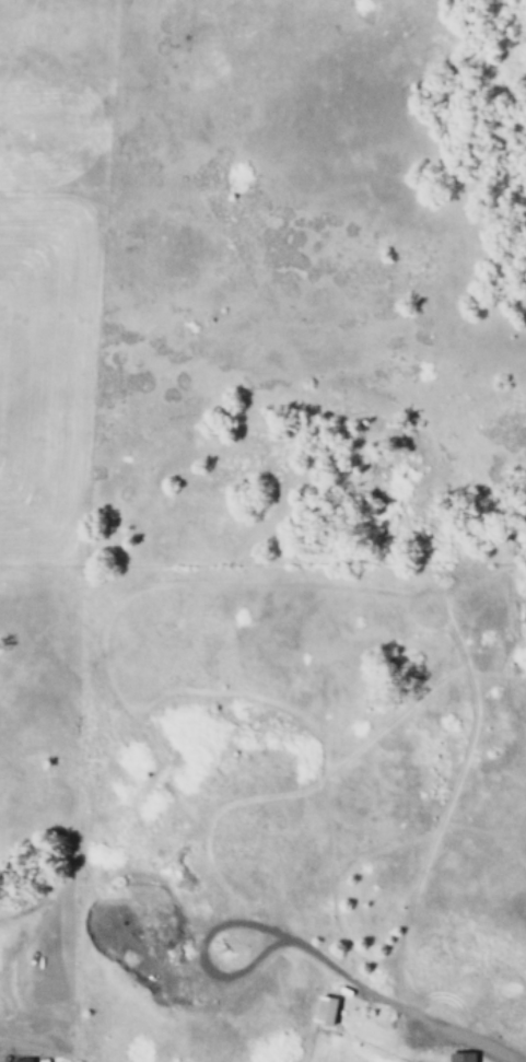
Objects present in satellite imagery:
road: (200, 959)
building: (323, 1012)
road: (401, 1012)
building: (459, 1057)
building: (20, 1060)

